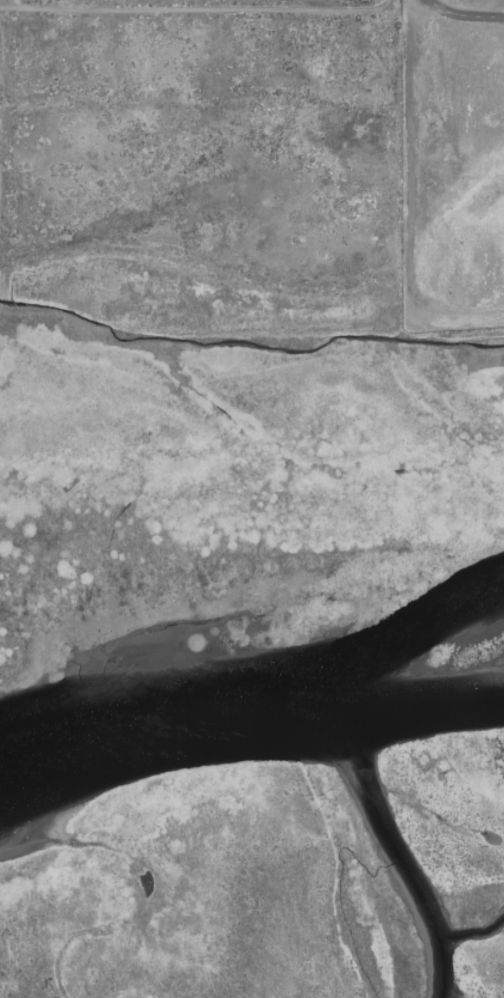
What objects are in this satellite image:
road: (3, 3)
road: (197, 9)
road: (462, 17)
airport: (452, 165)
road: (407, 196)
river: (260, 710)
river: (397, 840)

